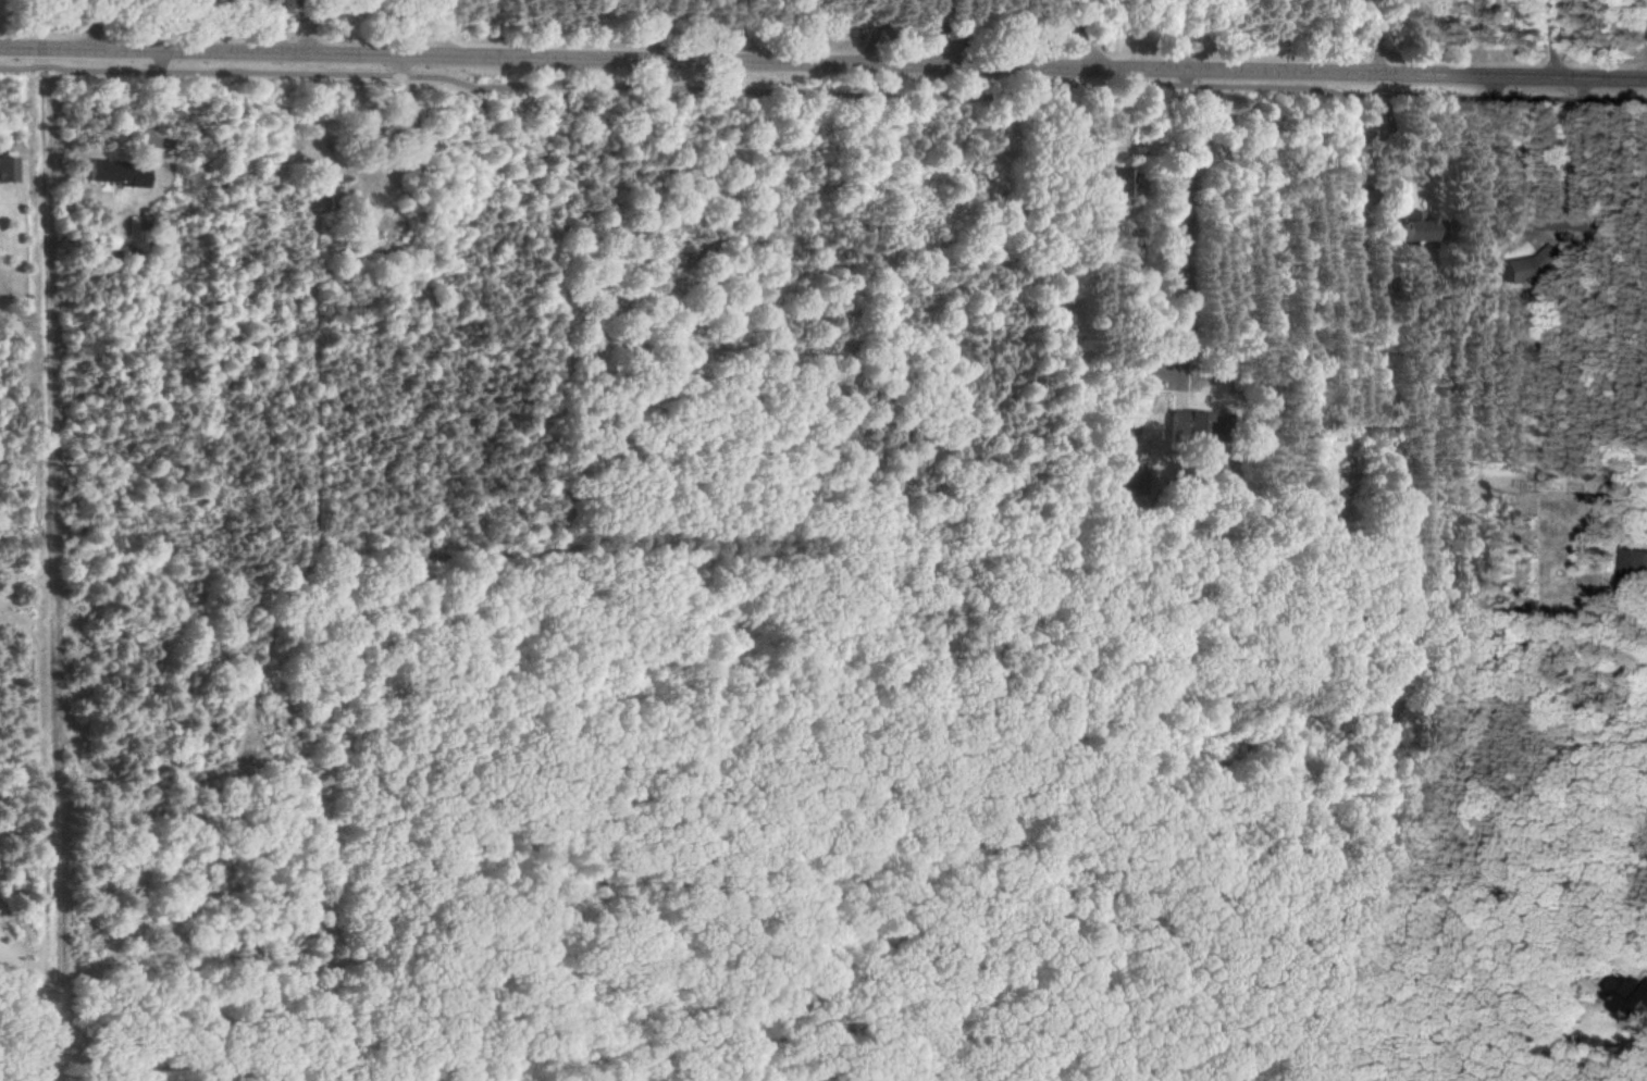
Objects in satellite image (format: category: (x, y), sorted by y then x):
road: (92, 26)
road: (265, 27)
road: (305, 27)
road: (439, 29)
road: (662, 30)
road: (946, 33)
road: (883, 34)
road: (1075, 34)
road: (1178, 35)
road: (1378, 37)
road: (1563, 37)
road: (1646, 60)
road: (823, 64)
road: (1394, 138)
road: (1569, 159)
building: (8, 170)
building: (116, 174)
building: (1117, 184)
road: (1174, 204)
building: (1414, 226)
building: (1530, 265)
building: (1199, 423)
building: (1129, 476)
building: (1633, 564)
building: (1624, 994)

